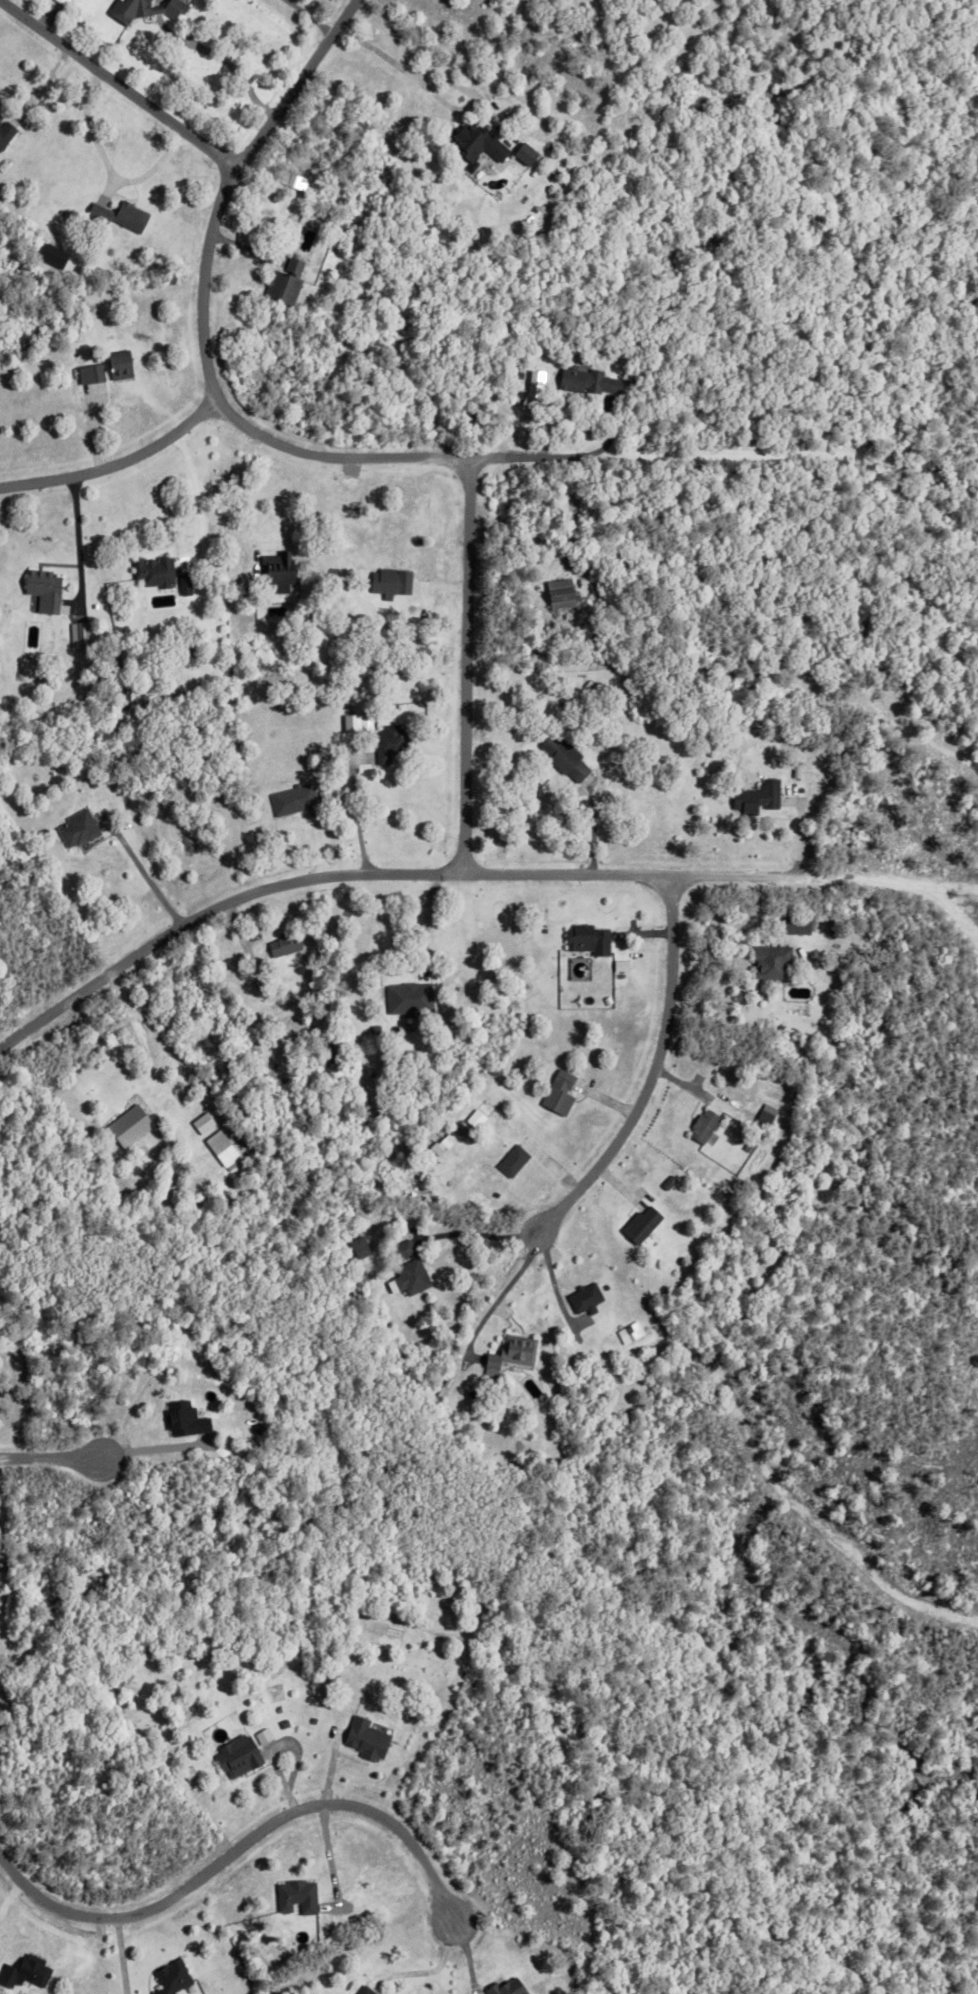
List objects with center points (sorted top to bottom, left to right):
building: (142, 10)
road: (311, 15)
road: (223, 59)
road: (39, 80)
road: (119, 81)
road: (446, 81)
building: (536, 126)
building: (5, 130)
building: (475, 141)
building: (523, 152)
road: (107, 167)
building: (291, 182)
building: (117, 213)
building: (283, 281)
building: (71, 338)
building: (117, 363)
building: (516, 373)
building: (585, 379)
building: (630, 379)
road: (218, 404)
road: (115, 462)
road: (234, 490)
road: (195, 503)
road: (571, 510)
road: (74, 521)
building: (275, 567)
building: (152, 570)
building: (387, 582)
building: (182, 586)
building: (41, 588)
building: (559, 593)
building: (76, 634)
building: (593, 649)
building: (189, 651)
road: (464, 673)
building: (587, 685)
building: (385, 743)
building: (562, 756)
building: (755, 796)
building: (291, 798)
road: (355, 821)
building: (76, 828)
road: (591, 835)
road: (144, 874)
road: (502, 887)
road: (749, 889)
building: (795, 925)
building: (584, 940)
road: (158, 943)
building: (280, 946)
building: (769, 961)
building: (618, 966)
building: (404, 998)
road: (135, 1034)
building: (751, 1080)
building: (556, 1092)
road: (643, 1094)
building: (761, 1118)
building: (701, 1125)
building: (127, 1126)
building: (195, 1128)
building: (439, 1145)
building: (112, 1149)
building: (220, 1149)
building: (510, 1161)
building: (665, 1183)
building: (638, 1224)
road: (482, 1234)
building: (357, 1248)
building: (406, 1269)
building: (582, 1298)
road: (491, 1305)
building: (626, 1329)
building: (508, 1354)
building: (181, 1420)
road: (151, 1448)
road: (52, 1461)
building: (281, 1720)
building: (364, 1734)
building: (260, 1736)
building: (236, 1752)
road: (242, 1848)
building: (294, 1897)
road: (120, 1957)
road: (427, 1968)
building: (460, 1971)
building: (23, 1972)
building: (170, 1978)
building: (504, 1986)
building: (374, 1993)

